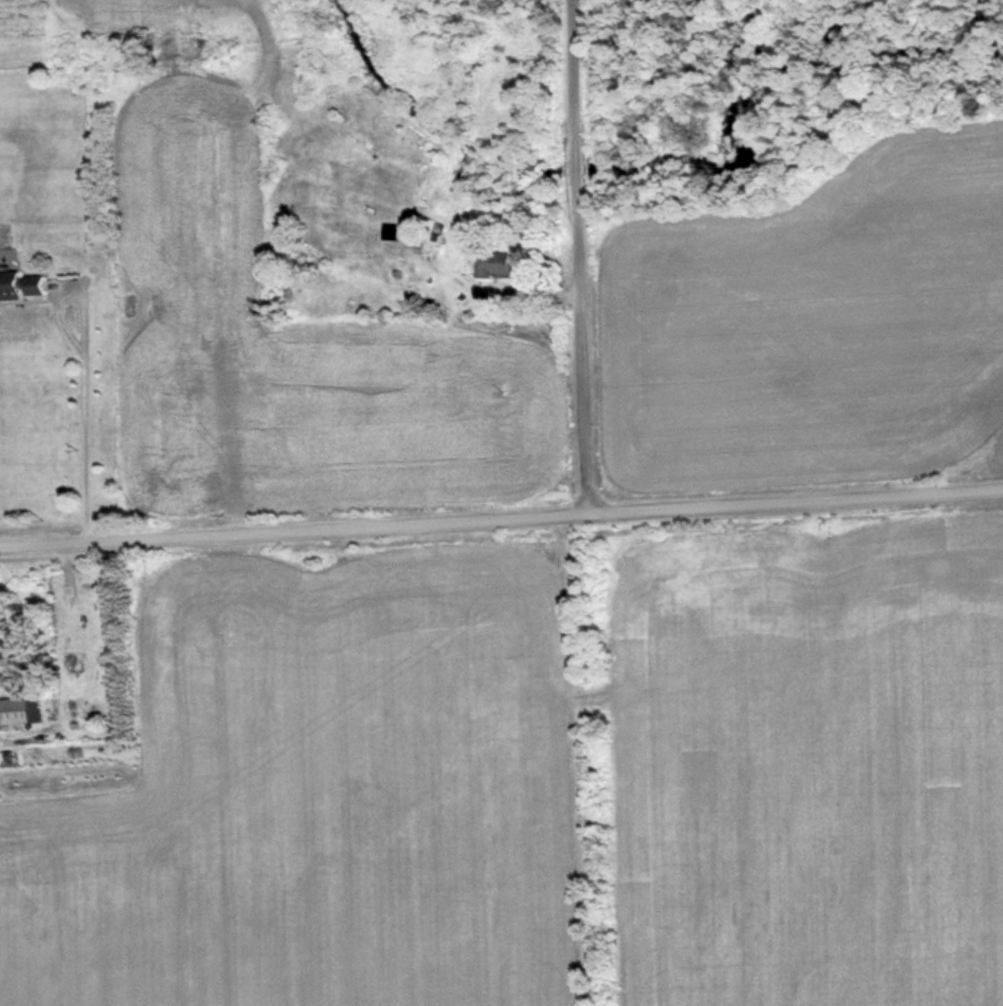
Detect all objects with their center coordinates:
building: (358, 205)
road: (581, 252)
building: (486, 263)
building: (26, 284)
road: (89, 410)
road: (501, 510)
building: (21, 710)

